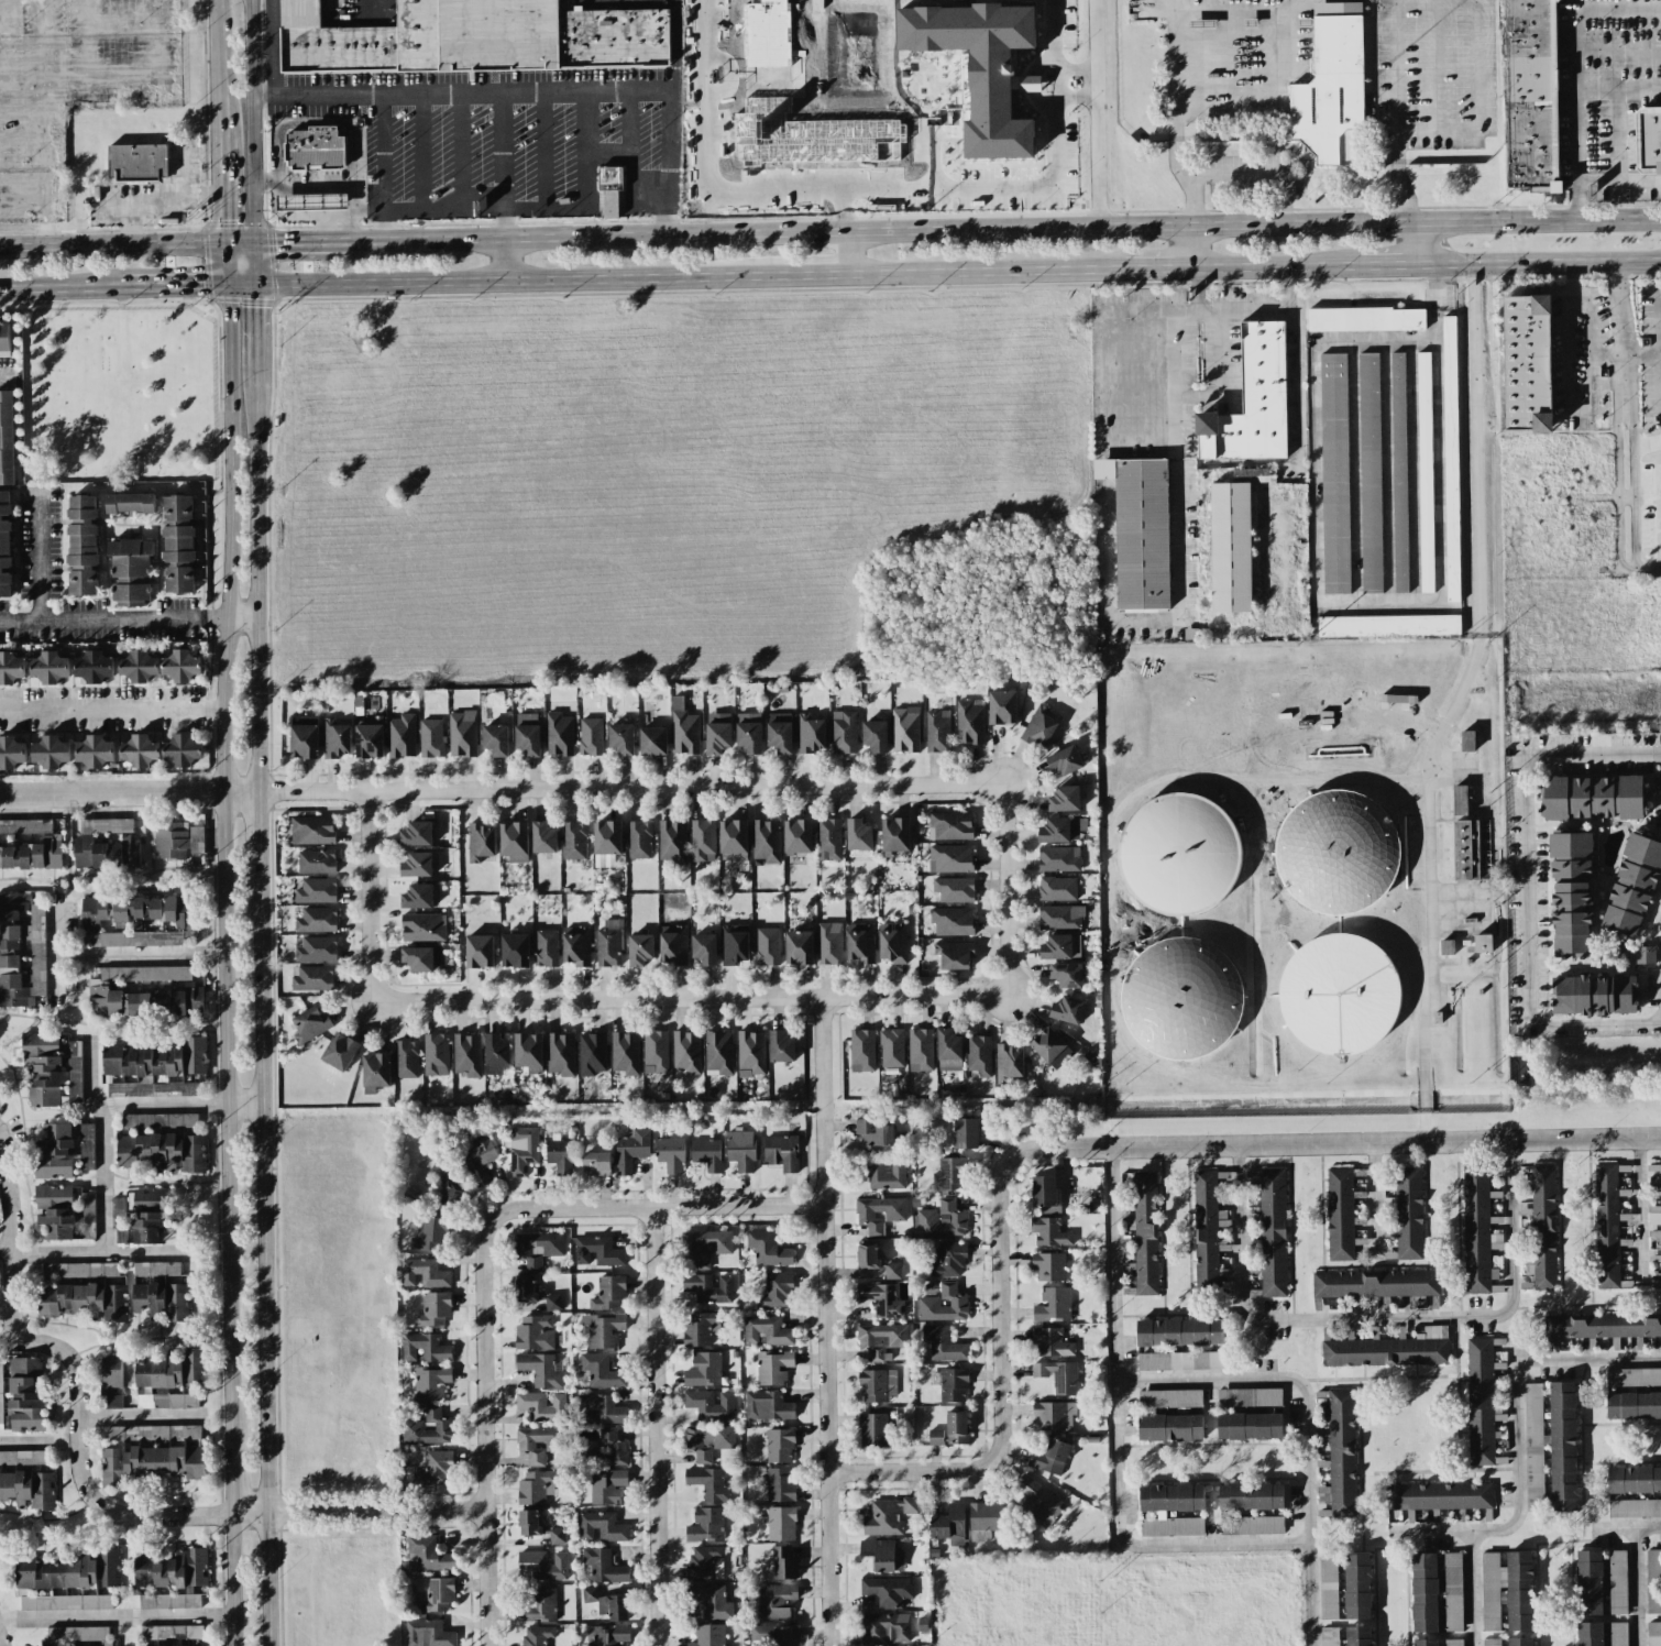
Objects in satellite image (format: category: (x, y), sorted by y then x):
road: (1400, 6)
building: (476, 37)
road: (673, 43)
road: (215, 67)
building: (981, 68)
road: (1075, 69)
road: (1576, 72)
building: (1331, 86)
road: (537, 89)
building: (1531, 95)
road: (1272, 100)
road: (1096, 112)
road: (253, 121)
road: (585, 122)
road: (628, 123)
road: (315, 124)
road: (46, 131)
road: (1174, 131)
building: (1650, 139)
building: (315, 149)
road: (458, 149)
road: (502, 149)
road: (542, 149)
road: (421, 150)
building: (136, 163)
road: (388, 165)
road: (1401, 178)
road: (1618, 182)
road: (328, 186)
building: (609, 188)
road: (1023, 188)
road: (330, 189)
road: (221, 190)
road: (293, 190)
road: (312, 190)
road: (293, 201)
building: (311, 201)
road: (312, 201)
road: (330, 201)
road: (1196, 201)
road: (557, 208)
road: (42, 212)
road: (293, 212)
road: (313, 212)
road: (330, 212)
road: (295, 217)
road: (504, 221)
road: (1004, 228)
road: (301, 242)
road: (1420, 243)
road: (239, 244)
traffic signals: (254, 244)
traffic signals: (224, 245)
road: (1196, 245)
road: (111, 246)
road: (845, 252)
road: (504, 257)
road: (1540, 261)
road: (226, 263)
road: (254, 263)
road: (1388, 264)
road: (1276, 265)
road: (1159, 266)
road: (985, 271)
road: (812, 274)
road: (503, 279)
traffic signals: (227, 282)
traffic signals: (255, 282)
road: (175, 283)
road: (62, 287)
road: (1294, 288)
road: (1617, 307)
road: (1295, 318)
building: (1365, 319)
road: (1096, 325)
road: (1570, 332)
road: (255, 334)
building: (4, 336)
road: (1219, 353)
road: (1640, 353)
building: (4, 354)
building: (1527, 363)
road: (1587, 371)
road: (3, 380)
building: (1252, 400)
road: (1444, 431)
building: (5, 438)
building: (1451, 459)
building: (1399, 472)
building: (1425, 472)
road: (1316, 473)
building: (1334, 473)
building: (1369, 473)
road: (1621, 479)
road: (1234, 495)
building: (129, 503)
building: (1140, 530)
building: (179, 544)
building: (82, 545)
building: (4, 546)
building: (1230, 547)
road: (1179, 564)
road: (43, 570)
building: (131, 570)
road: (255, 589)
road: (241, 618)
road: (113, 624)
building: (1388, 625)
building: (182, 665)
building: (11, 666)
building: (94, 666)
building: (137, 666)
building: (50, 667)
building: (1398, 699)
road: (1455, 702)
building: (1001, 706)
road: (110, 709)
building: (969, 722)
building: (1039, 726)
building: (683, 728)
building: (904, 729)
building: (936, 731)
building: (748, 732)
building: (779, 732)
building: (844, 732)
building: (717, 733)
building: (462, 734)
building: (527, 734)
building: (559, 734)
building: (811, 734)
building: (875, 735)
building: (400, 736)
building: (591, 736)
building: (335, 738)
building: (370, 738)
building: (431, 738)
building: (621, 738)
building: (495, 739)
building: (304, 740)
building: (652, 740)
building: (1467, 740)
building: (183, 749)
building: (139, 750)
building: (51, 751)
building: (95, 751)
building: (12, 753)
road: (1593, 754)
building: (1065, 760)
road: (502, 787)
building: (1593, 797)
building: (1065, 799)
building: (1460, 800)
building: (111, 825)
building: (949, 825)
building: (311, 830)
building: (1061, 830)
road: (256, 831)
building: (417, 834)
building: (895, 834)
building: (858, 835)
building: (798, 836)
building: (542, 837)
building: (828, 838)
building: (176, 840)
building: (639, 840)
building: (733, 840)
building: (574, 841)
building: (702, 841)
building: (766, 841)
building: (480, 842)
building: (514, 842)
building: (671, 842)
building: (606, 843)
building: (29, 844)
building: (1466, 851)
building: (106, 853)
building: (1339, 853)
storage tank: (1339, 853)
building: (1179, 856)
storage tank: (1179, 856)
road: (221, 857)
building: (950, 858)
building: (1058, 858)
building: (316, 862)
building: (417, 865)
building: (1632, 884)
building: (1056, 888)
building: (954, 889)
building: (316, 890)
road: (1526, 890)
road: (1004, 891)
building: (1571, 893)
road: (371, 896)
building: (417, 896)
road: (1459, 901)
building: (137, 910)
building: (1059, 917)
building: (316, 920)
building: (952, 921)
building: (422, 928)
building: (136, 939)
building: (860, 942)
building: (892, 942)
building: (609, 943)
building: (829, 943)
building: (1483, 943)
building: (734, 944)
building: (576, 945)
building: (672, 945)
building: (767, 946)
building: (1060, 946)
building: (1447, 946)
building: (547, 947)
building: (799, 947)
building: (316, 948)
building: (704, 948)
building: (21, 950)
building: (514, 950)
building: (640, 950)
building: (479, 951)
building: (954, 954)
building: (1645, 955)
road: (129, 957)
building: (421, 958)
building: (145, 974)
building: (1066, 975)
building: (312, 979)
building: (1339, 995)
storage tank: (1339, 995)
building: (1594, 995)
building: (145, 1001)
road: (689, 1001)
building: (1181, 1001)
storage tank: (1181, 1001)
building: (1067, 1010)
building: (310, 1023)
road: (1594, 1025)
building: (781, 1046)
building: (891, 1047)
building: (1050, 1047)
building: (948, 1049)
building: (920, 1050)
building: (339, 1051)
building: (861, 1051)
building: (496, 1052)
building: (528, 1052)
building: (625, 1052)
building: (656, 1052)
building: (686, 1052)
building: (592, 1053)
building: (718, 1053)
building: (750, 1053)
building: (436, 1054)
building: (466, 1054)
building: (560, 1054)
building: (979, 1055)
building: (156, 1058)
building: (406, 1058)
building: (1009, 1061)
road: (95, 1062)
building: (43, 1067)
building: (376, 1069)
building: (74, 1073)
building: (174, 1088)
road: (243, 1106)
building: (158, 1120)
building: (873, 1133)
building: (966, 1133)
road: (1097, 1145)
building: (86, 1146)
building: (522, 1150)
building: (630, 1150)
building: (740, 1150)
building: (54, 1152)
building: (161, 1152)
building: (781, 1152)
building: (670, 1154)
building: (706, 1154)
building: (560, 1155)
building: (480, 1159)
building: (596, 1163)
building: (884, 1175)
building: (949, 1175)
building: (1660, 1176)
road: (110, 1181)
building: (1045, 1194)
building: (152, 1198)
road: (1377, 1199)
road: (1645, 1209)
building: (55, 1210)
building: (879, 1212)
building: (1408, 1214)
building: (87, 1215)
building: (1340, 1215)
building: (1656, 1218)
building: (118, 1219)
building: (941, 1220)
building: (1606, 1226)
building: (148, 1227)
building: (1543, 1227)
building: (1206, 1228)
building: (1476, 1229)
building: (1049, 1232)
building: (1273, 1232)
building: (1145, 1233)
building: (430, 1234)
building: (705, 1246)
building: (537, 1248)
building: (767, 1249)
building: (597, 1251)
road: (13, 1253)
road: (91, 1254)
building: (867, 1255)
road: (262, 1259)
building: (947, 1259)
road: (483, 1264)
building: (1048, 1266)
building: (155, 1269)
building: (79, 1270)
building: (892, 1271)
building: (424, 1273)
building: (1375, 1283)
building: (525, 1288)
building: (707, 1288)
building: (776, 1291)
building: (608, 1293)
building: (881, 1299)
building: (162, 1301)
building: (84, 1302)
building: (552, 1302)
building: (943, 1305)
building: (1053, 1305)
building: (435, 1309)
road: (1377, 1315)
road: (827, 1323)
building: (1602, 1326)
building: (700, 1328)
building: (603, 1329)
building: (766, 1331)
building: (533, 1332)
building: (1180, 1332)
building: (881, 1340)
building: (1050, 1342)
building: (944, 1343)
building: (424, 1348)
building: (1388, 1350)
road: (59, 1352)
road: (1590, 1358)
building: (1181, 1361)
building: (773, 1367)
building: (540, 1369)
building: (703, 1370)
building: (110, 1371)
building: (602, 1371)
building: (172, 1376)
building: (1058, 1376)
building: (1634, 1378)
building: (431, 1382)
building: (877, 1385)
building: (953, 1385)
building: (25, 1395)
building: (1, 1396)
building: (1248, 1397)
building: (1169, 1398)
building: (113, 1401)
building: (1480, 1401)
building: (710, 1404)
building: (1632, 1405)
building: (541, 1406)
building: (767, 1406)
building: (599, 1408)
road: (139, 1409)
building: (1054, 1415)
road: (1303, 1422)
road: (658, 1426)
building: (1250, 1426)
building: (428, 1427)
building: (956, 1427)
building: (1169, 1427)
road: (24, 1429)
building: (872, 1430)
building: (156, 1434)
road: (1115, 1436)
building: (935, 1437)
building: (707, 1440)
building: (540, 1442)
building: (779, 1446)
building: (1563, 1446)
building: (1533, 1447)
building: (604, 1449)
building: (1341, 1452)
building: (22, 1457)
building: (1049, 1457)
building: (151, 1463)
building: (435, 1469)
road: (229, 1472)
building: (1634, 1480)
building: (708, 1483)
building: (780, 1484)
building: (606, 1485)
building: (535, 1486)
road: (1520, 1489)
building: (28, 1490)
building: (1251, 1496)
building: (1439, 1496)
building: (1037, 1500)
road: (356, 1507)
building: (1635, 1508)
road: (114, 1510)
building: (1171, 1510)
building: (888, 1516)
building: (985, 1519)
building: (528, 1522)
building: (781, 1523)
building: (705, 1525)
building: (949, 1525)
building: (1251, 1525)
road: (1626, 1525)
building: (601, 1527)
building: (555, 1535)
building: (428, 1554)
building: (882, 1555)
building: (705, 1562)
building: (783, 1563)
building: (603, 1566)
building: (108, 1567)
building: (55, 1572)
building: (172, 1578)
road: (229, 1579)
building: (1653, 1581)
building: (1602, 1582)
building: (1328, 1585)
road: (1637, 1585)
building: (1357, 1587)
road: (1471, 1589)
building: (1507, 1590)
building: (887, 1591)
building: (1425, 1592)
building: (437, 1594)
building: (712, 1601)
building: (771, 1601)
building: (66, 1602)
building: (607, 1603)
building: (539, 1606)
road: (101, 1614)
building: (886, 1628)
building: (172, 1632)
building: (77, 1633)
building: (1616, 1633)
building: (1654, 1633)
building: (427, 1634)
building: (1590, 1634)
building: (536, 1635)
building: (607, 1635)
building: (708, 1635)
building: (774, 1635)
building: (1330, 1636)
building: (1358, 1636)
building: (1453, 1642)
building: (1492, 1642)
building: (1520, 1642)
building: (1426, 1643)

